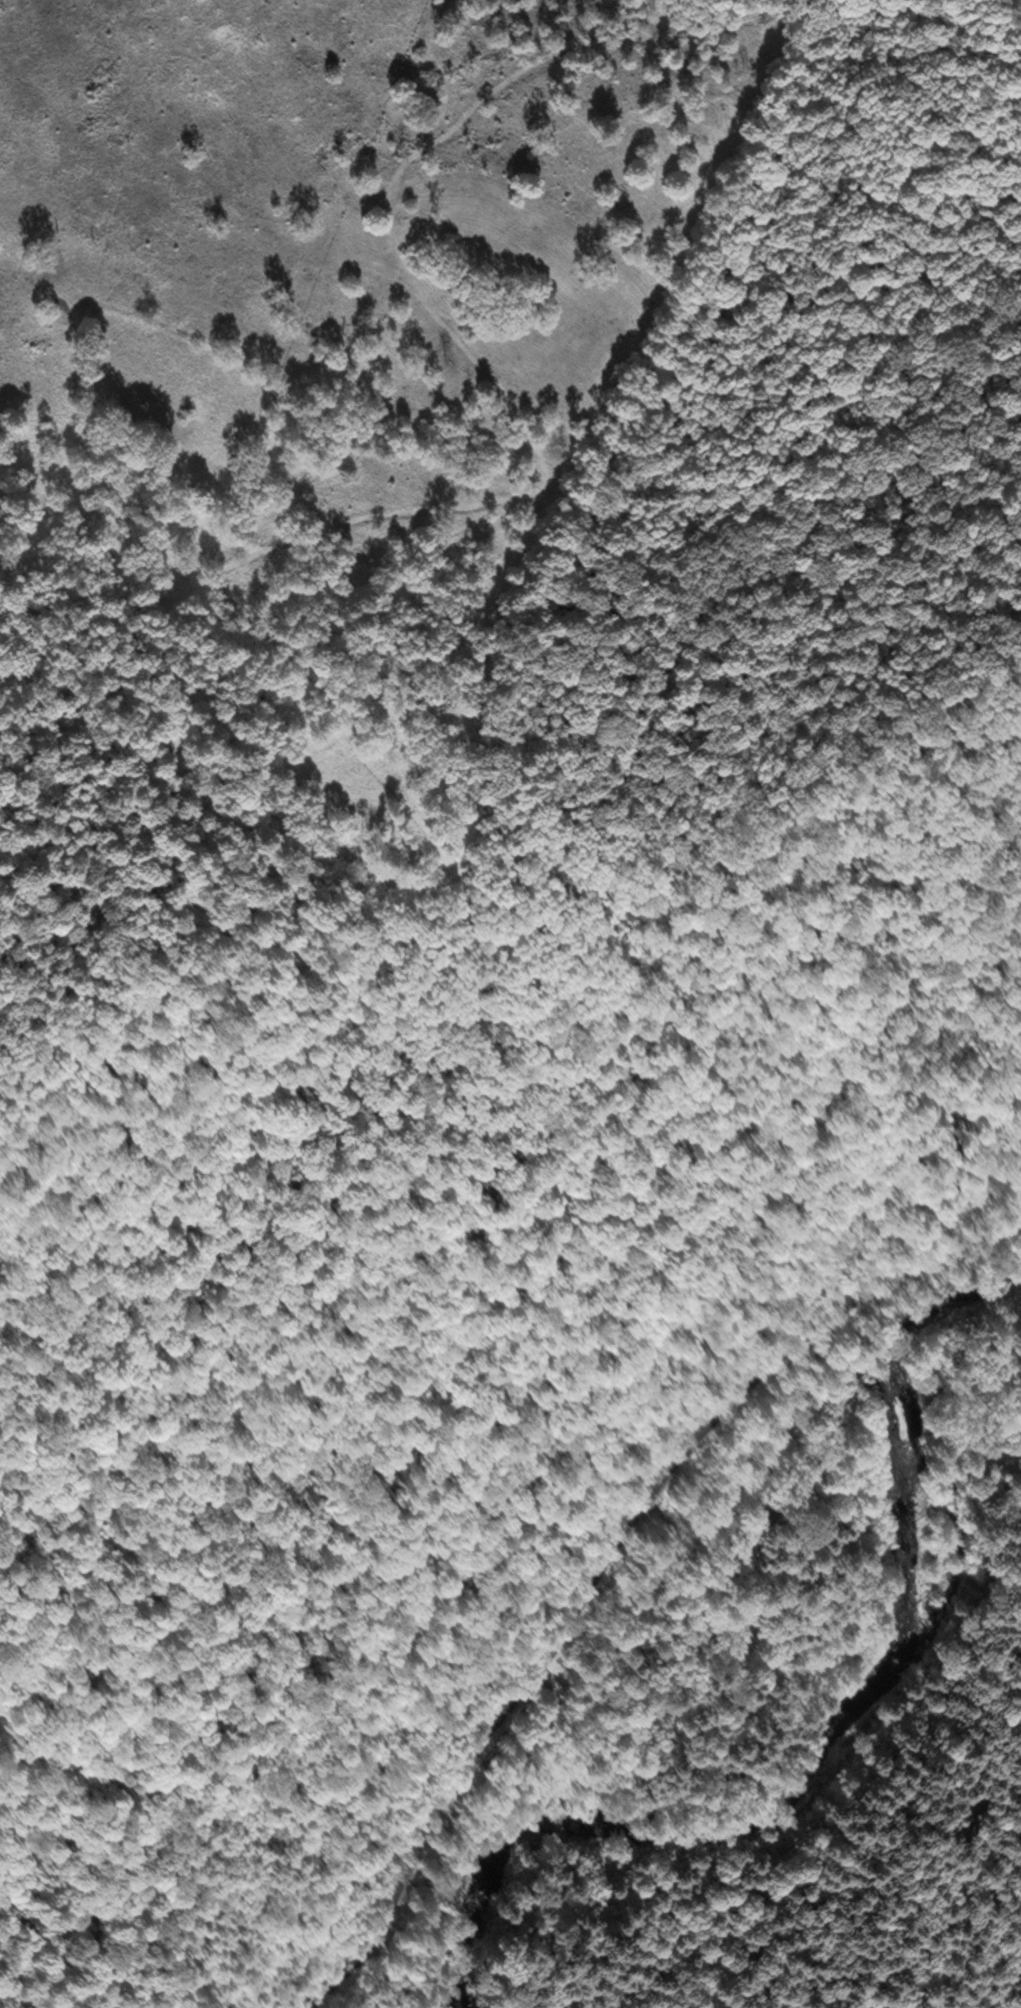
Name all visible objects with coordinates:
road: (603, 1553)

